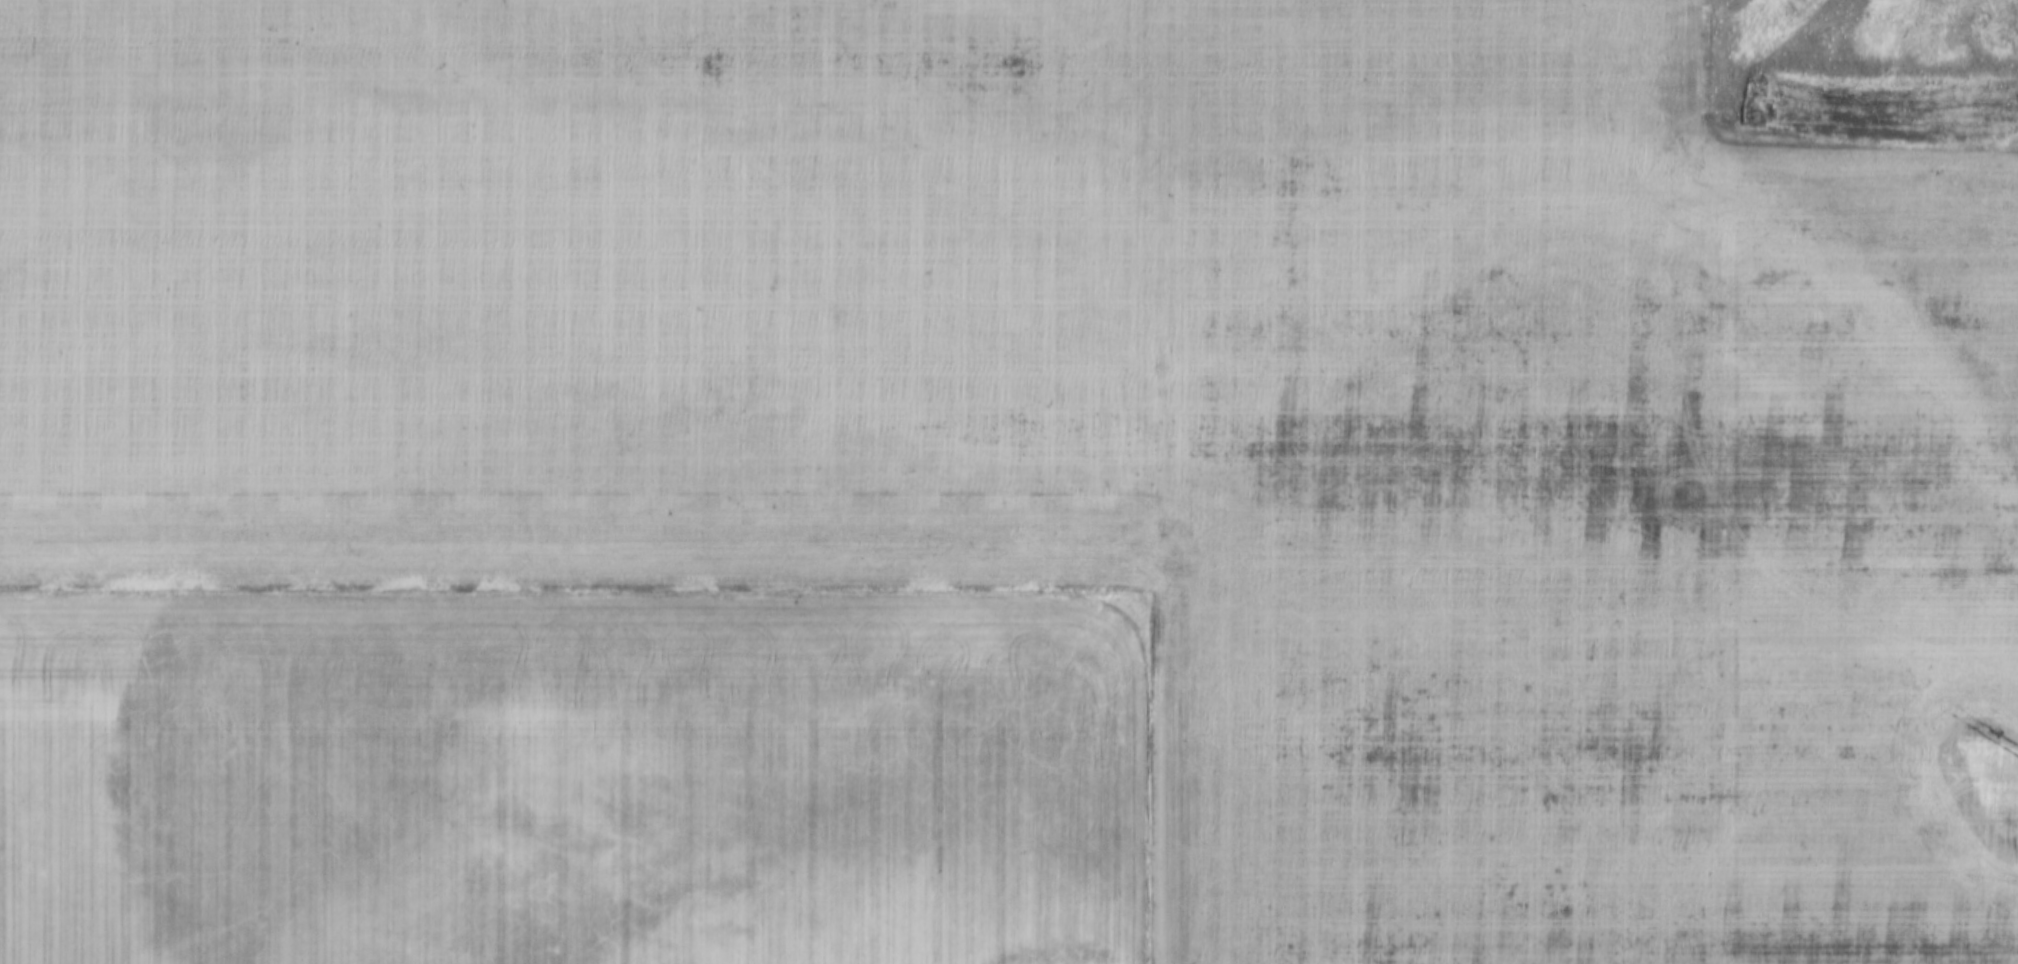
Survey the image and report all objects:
quarry: (1860, 68)
road: (1173, 481)
road: (1595, 571)

